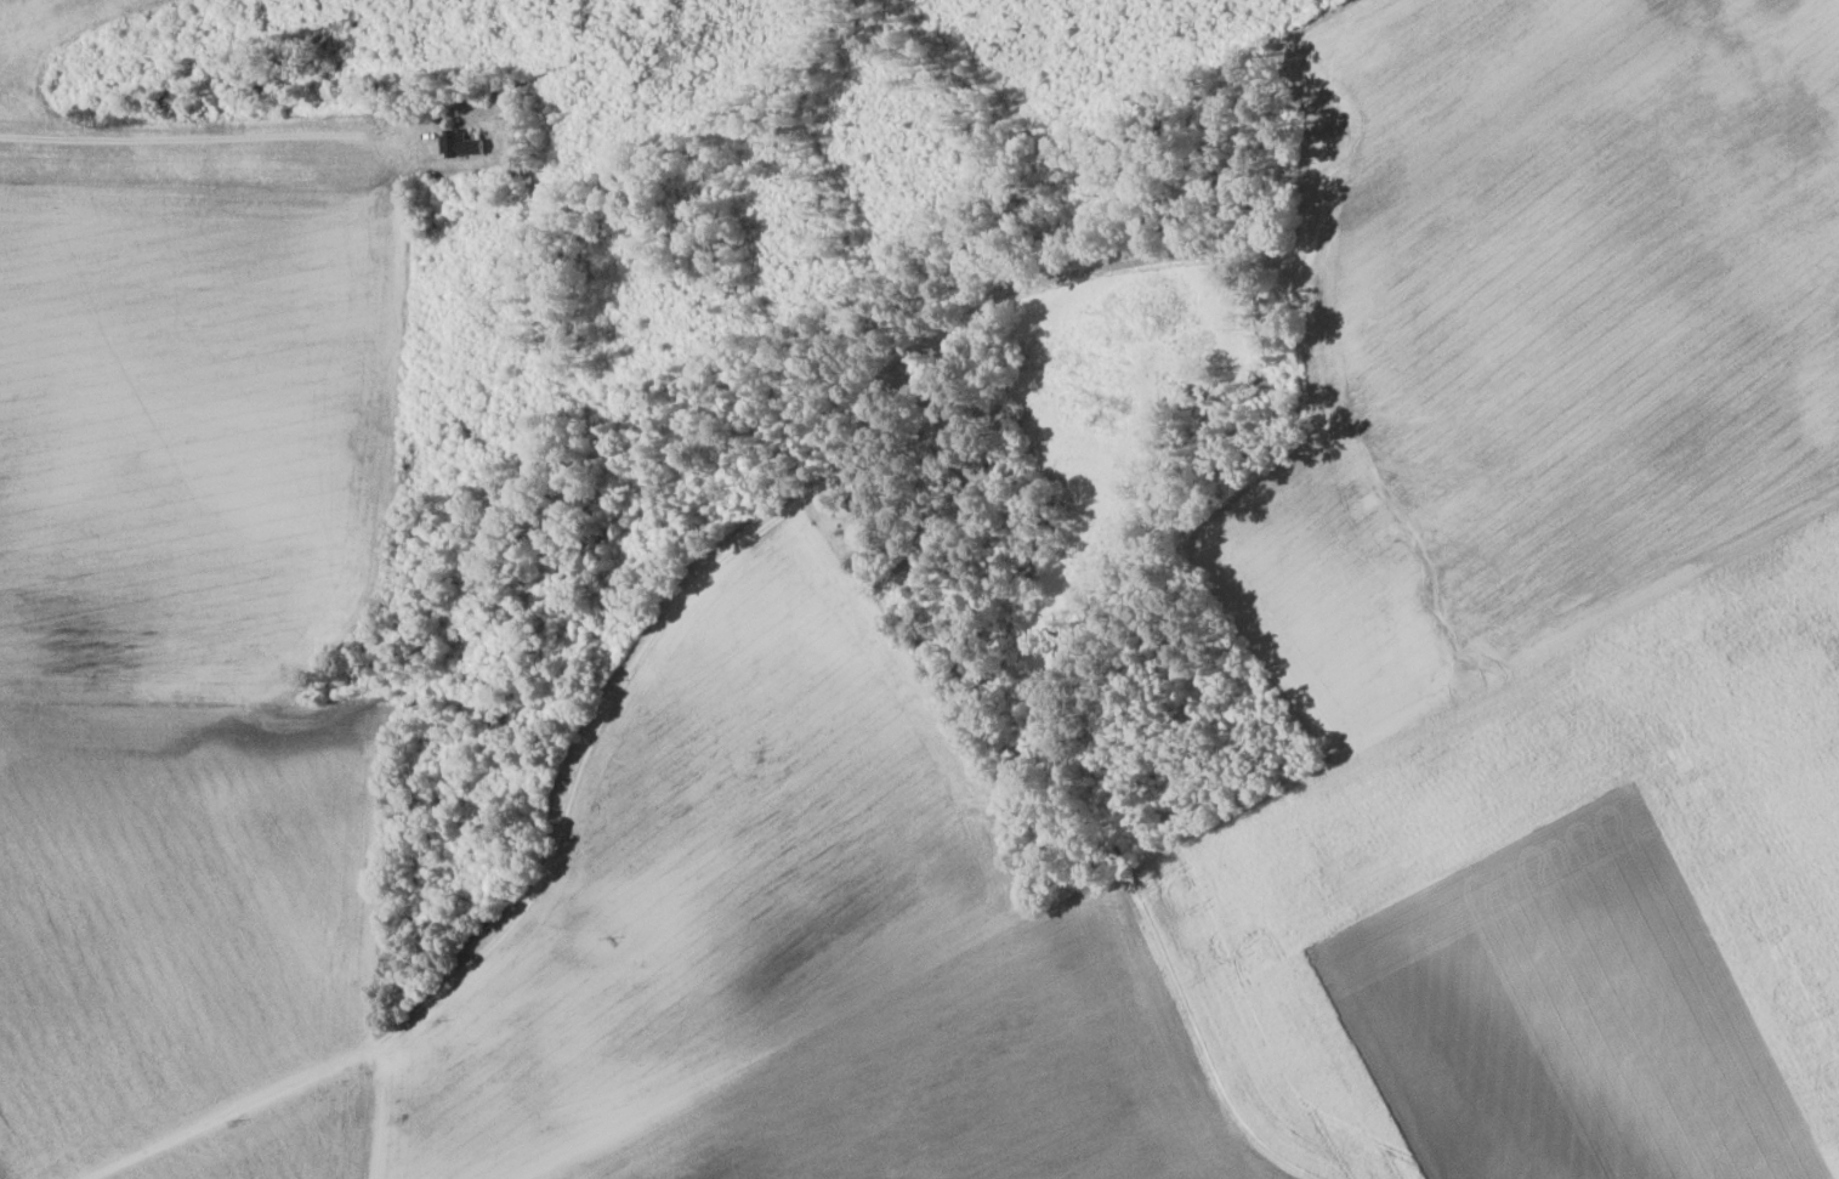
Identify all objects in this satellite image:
building: (460, 142)
road: (521, 906)

